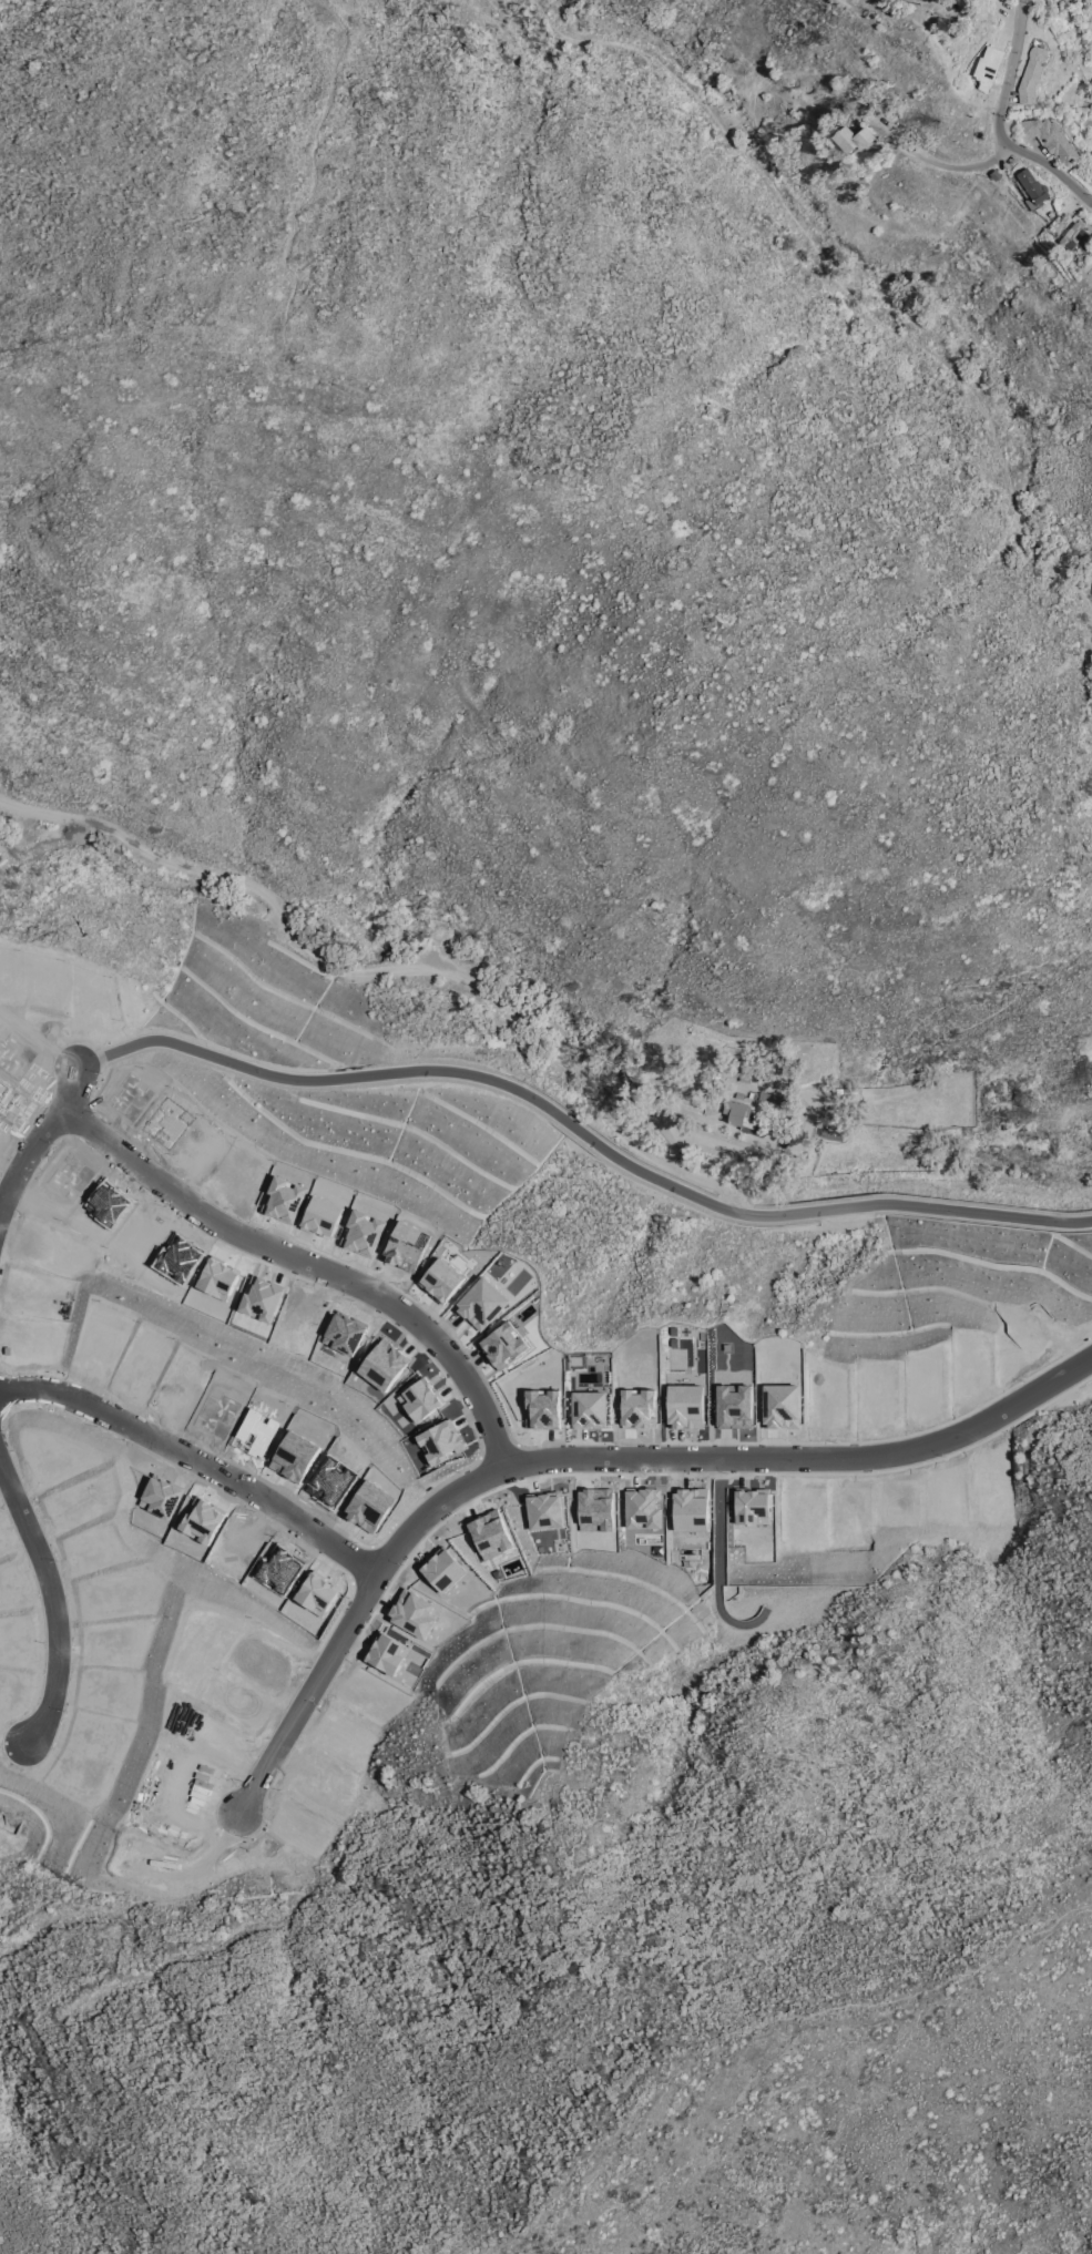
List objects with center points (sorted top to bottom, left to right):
road: (1012, 55)
building: (989, 64)
building: (1033, 72)
building: (1051, 136)
building: (855, 137)
road: (1037, 159)
road: (939, 163)
building: (997, 173)
building: (1037, 185)
building: (1074, 234)
road: (840, 279)
road: (286, 305)
park: (979, 947)
road: (389, 968)
road: (418, 1069)
building: (744, 1078)
building: (739, 1094)
building: (753, 1097)
building: (768, 1097)
building: (736, 1110)
building: (836, 1125)
road: (39, 1135)
road: (911, 1204)
road: (308, 1262)
road: (1044, 1365)
road: (1041, 1404)
road: (586, 1458)
road: (195, 1461)
road: (717, 1562)
road: (51, 1602)
road: (758, 2027)

